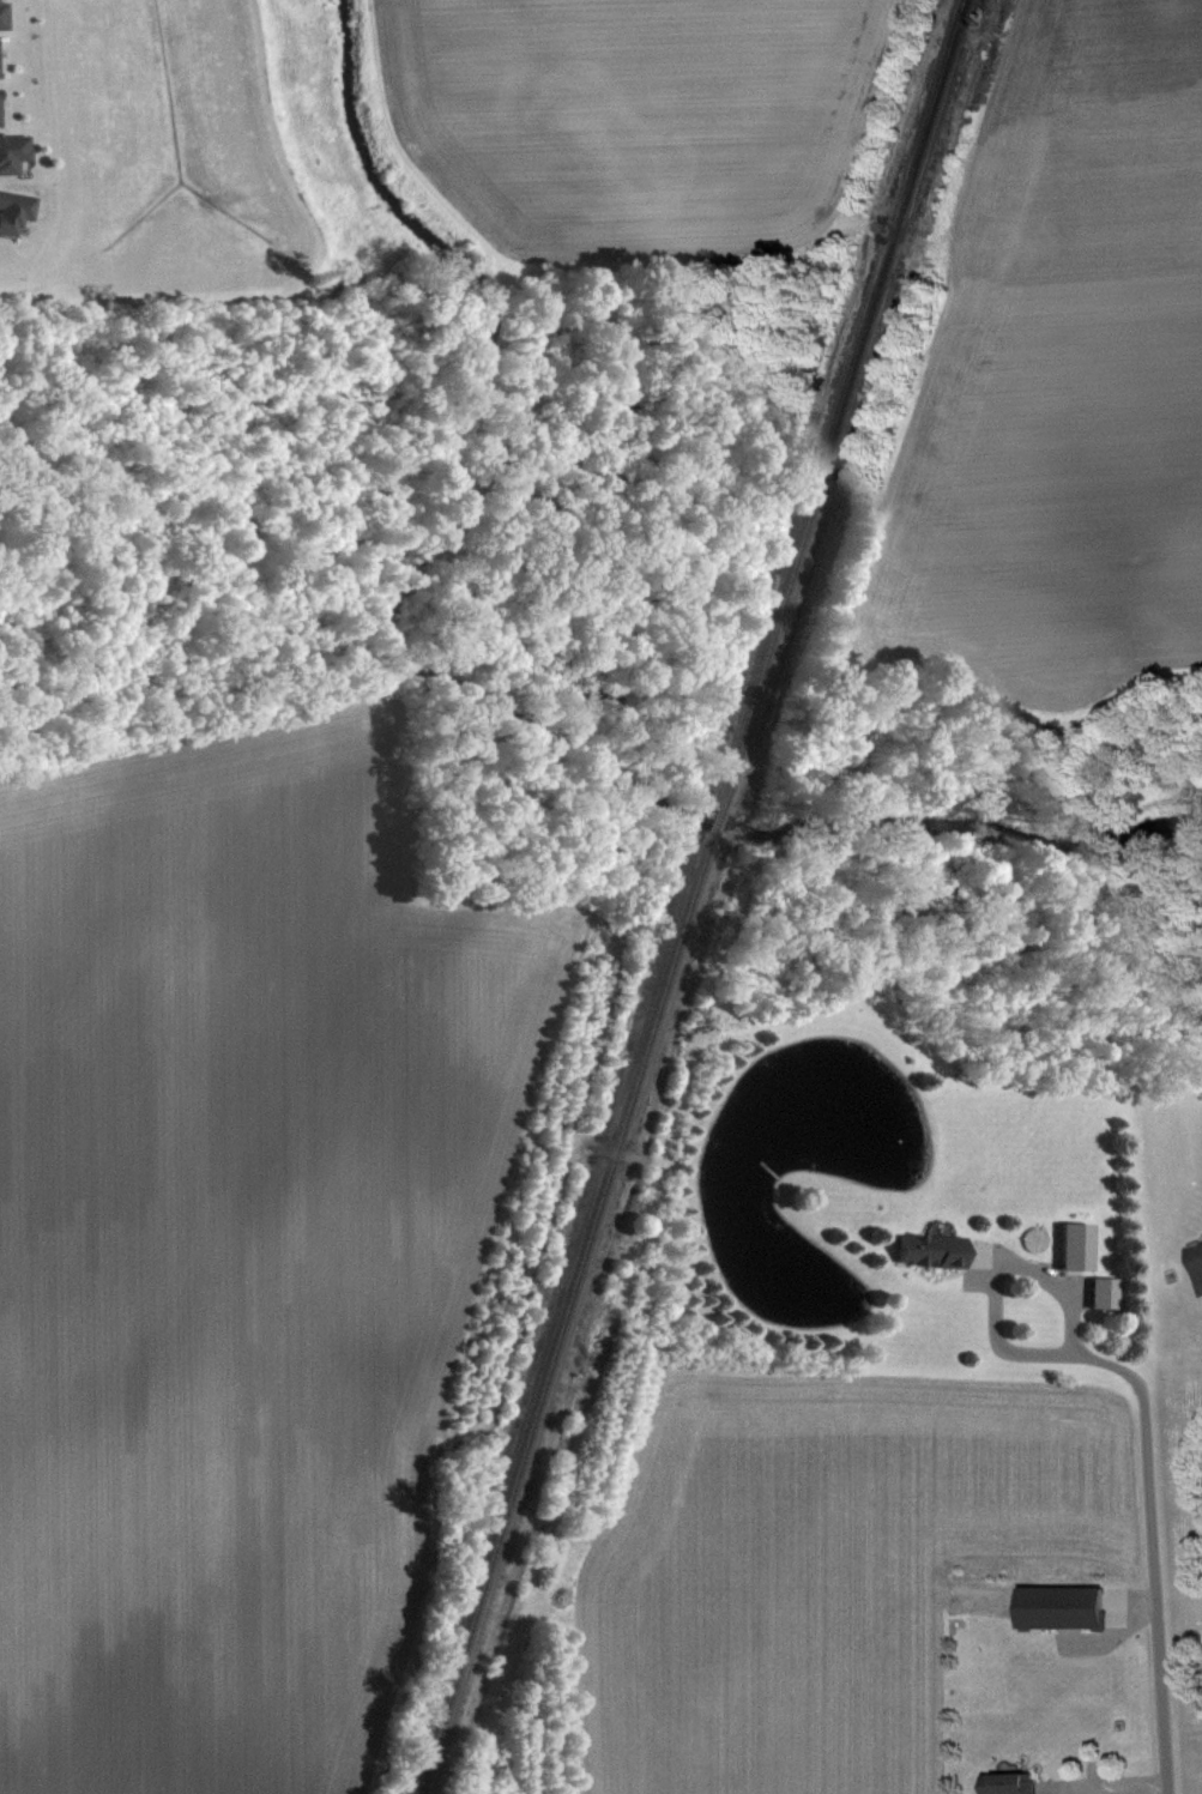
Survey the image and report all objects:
building: (5, 25)
building: (0, 70)
building: (1, 116)
building: (14, 162)
building: (16, 221)
railway: (844, 405)
railway: (717, 823)
crop: (249, 1249)
building: (1079, 1256)
building: (935, 1261)
building: (1198, 1268)
road: (995, 1275)
building: (1106, 1303)
railway: (566, 1315)
road: (1150, 1550)
building: (1069, 1617)
building: (1014, 1788)
road: (1107, 1790)

